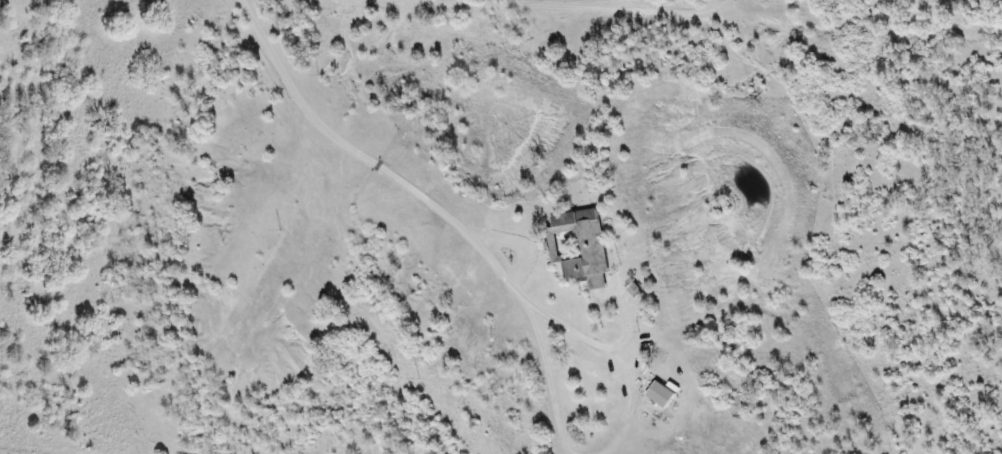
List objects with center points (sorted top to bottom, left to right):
building: (576, 247)
building: (656, 395)

